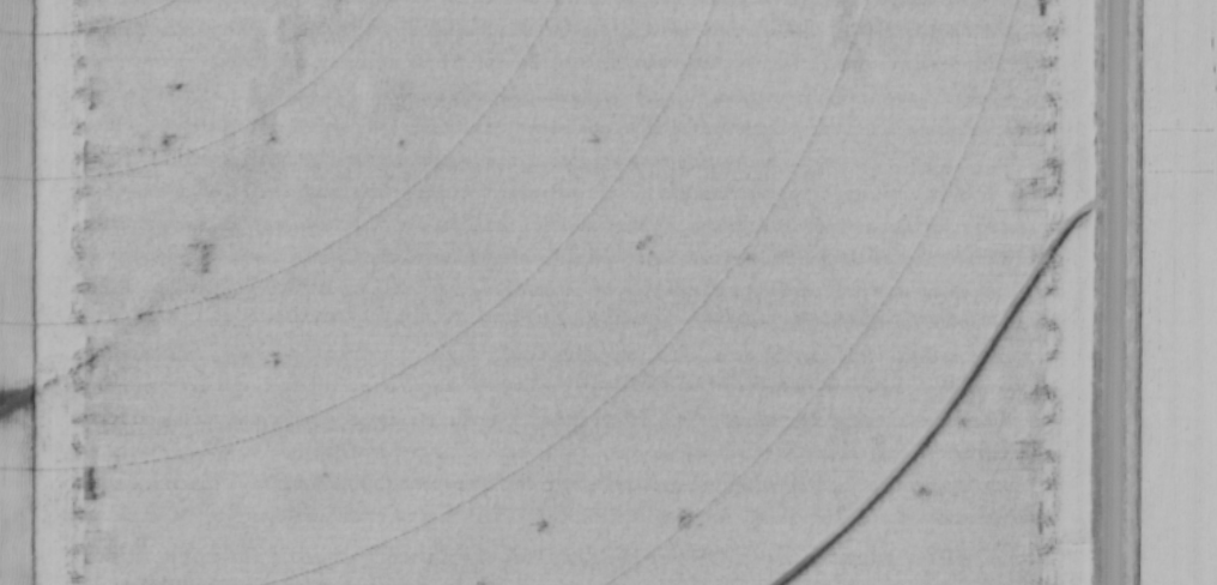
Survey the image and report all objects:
road: (1112, 292)

